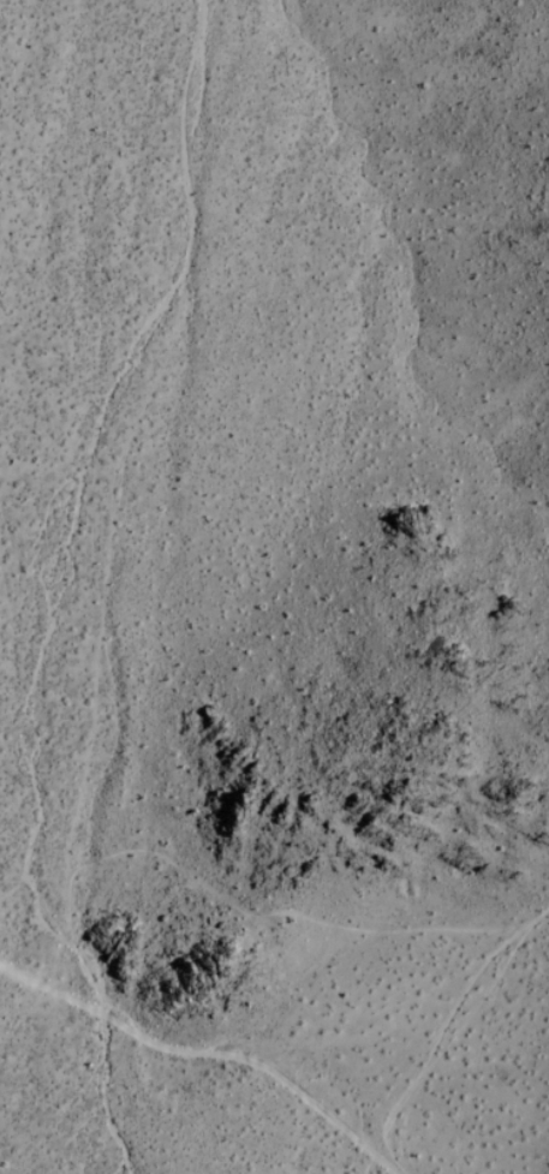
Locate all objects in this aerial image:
road: (219, 1053)

